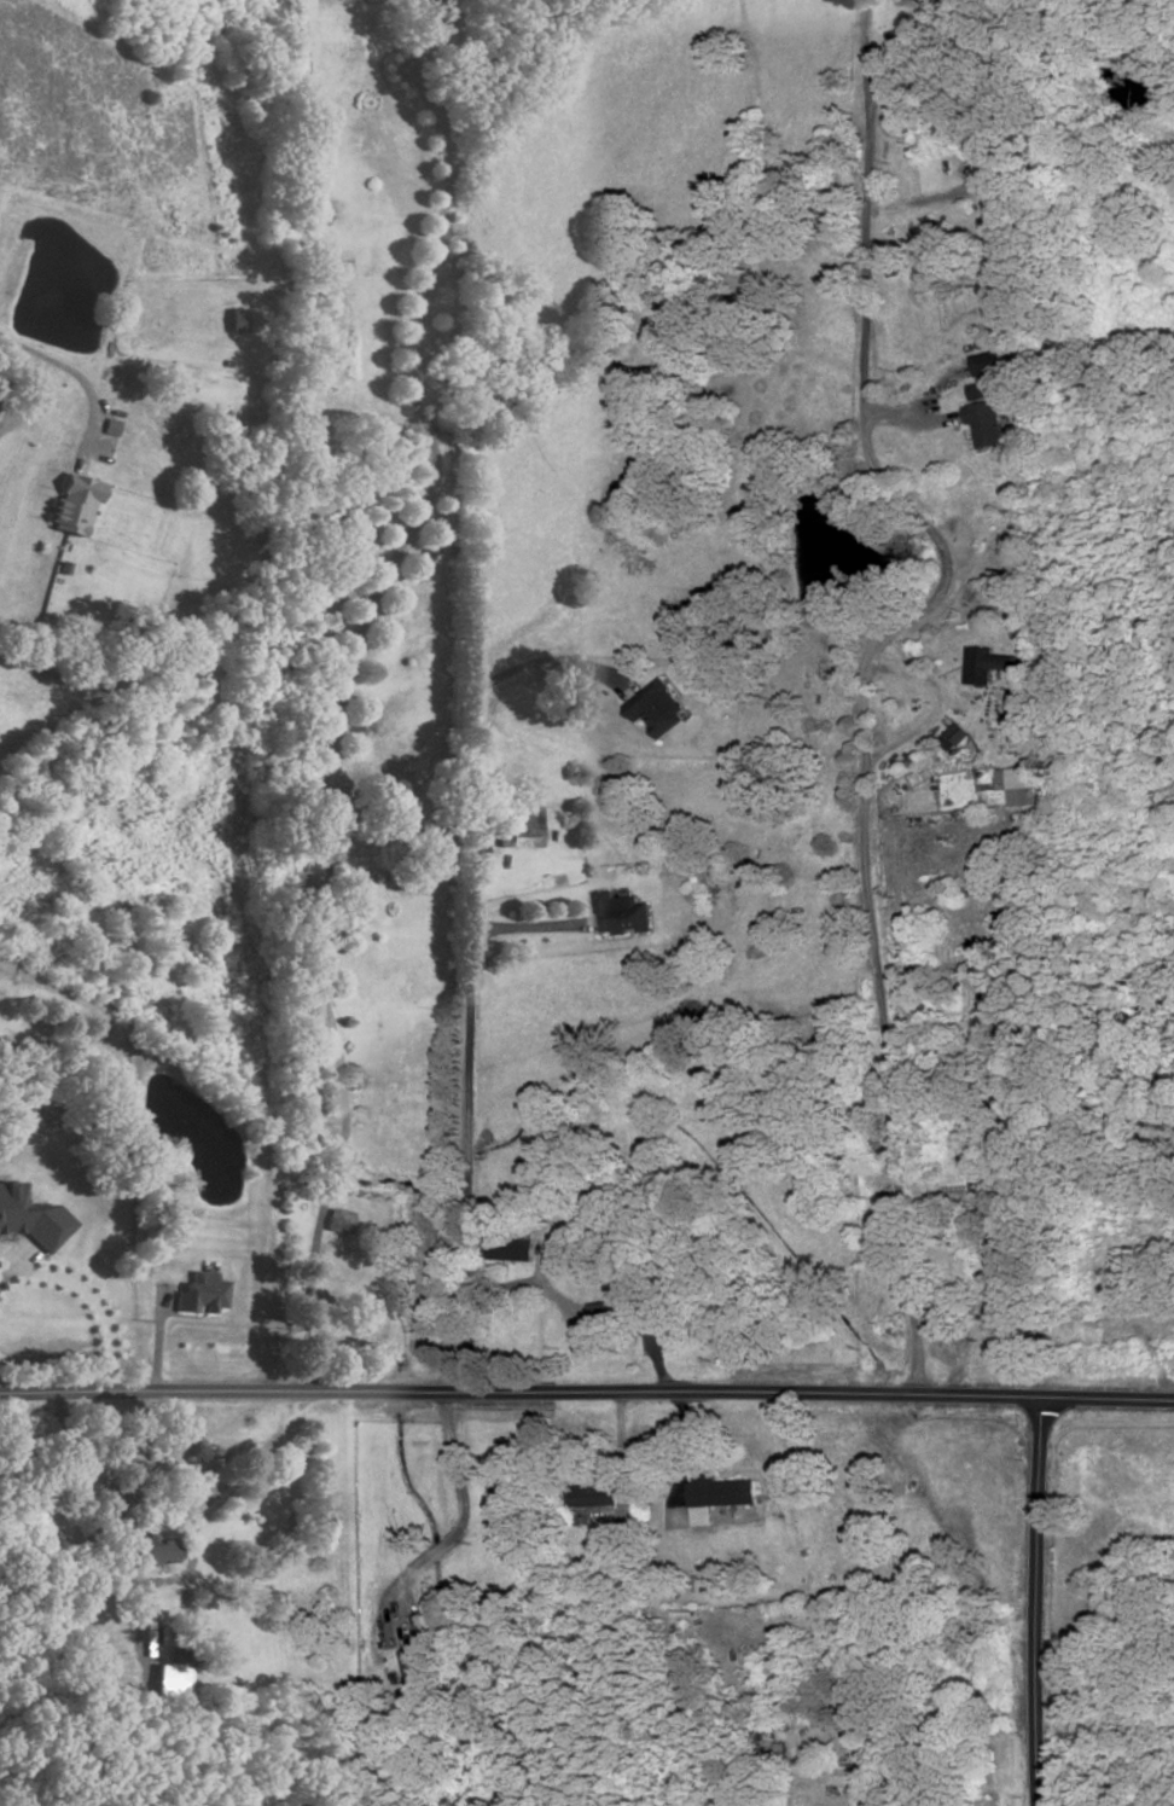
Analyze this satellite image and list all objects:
road: (372, 2)
road: (897, 60)
road: (932, 198)
building: (237, 320)
building: (992, 341)
building: (988, 364)
road: (81, 384)
building: (976, 390)
road: (896, 413)
building: (986, 423)
parking lot: (106, 441)
building: (72, 507)
building: (1025, 605)
building: (978, 664)
road: (867, 668)
road: (339, 685)
building: (658, 709)
road: (938, 709)
road: (472, 730)
building: (955, 734)
building: (1021, 783)
building: (517, 829)
building: (620, 913)
road: (529, 928)
road: (269, 1121)
road: (466, 1161)
building: (978, 1173)
building: (30, 1219)
building: (339, 1223)
building: (1002, 1239)
building: (512, 1247)
building: (156, 1248)
road: (510, 1284)
building: (202, 1294)
road: (91, 1296)
building: (620, 1308)
road: (967, 1330)
road: (159, 1343)
road: (658, 1363)
road: (587, 1393)
road: (682, 1433)
road: (621, 1458)
road: (104, 1477)
road: (237, 1480)
building: (721, 1489)
building: (593, 1494)
road: (461, 1528)
building: (362, 1538)
building: (623, 1541)
building: (152, 1555)
road: (353, 1596)
road: (1039, 1602)
building: (179, 1656)
building: (414, 1666)
building: (172, 1680)

